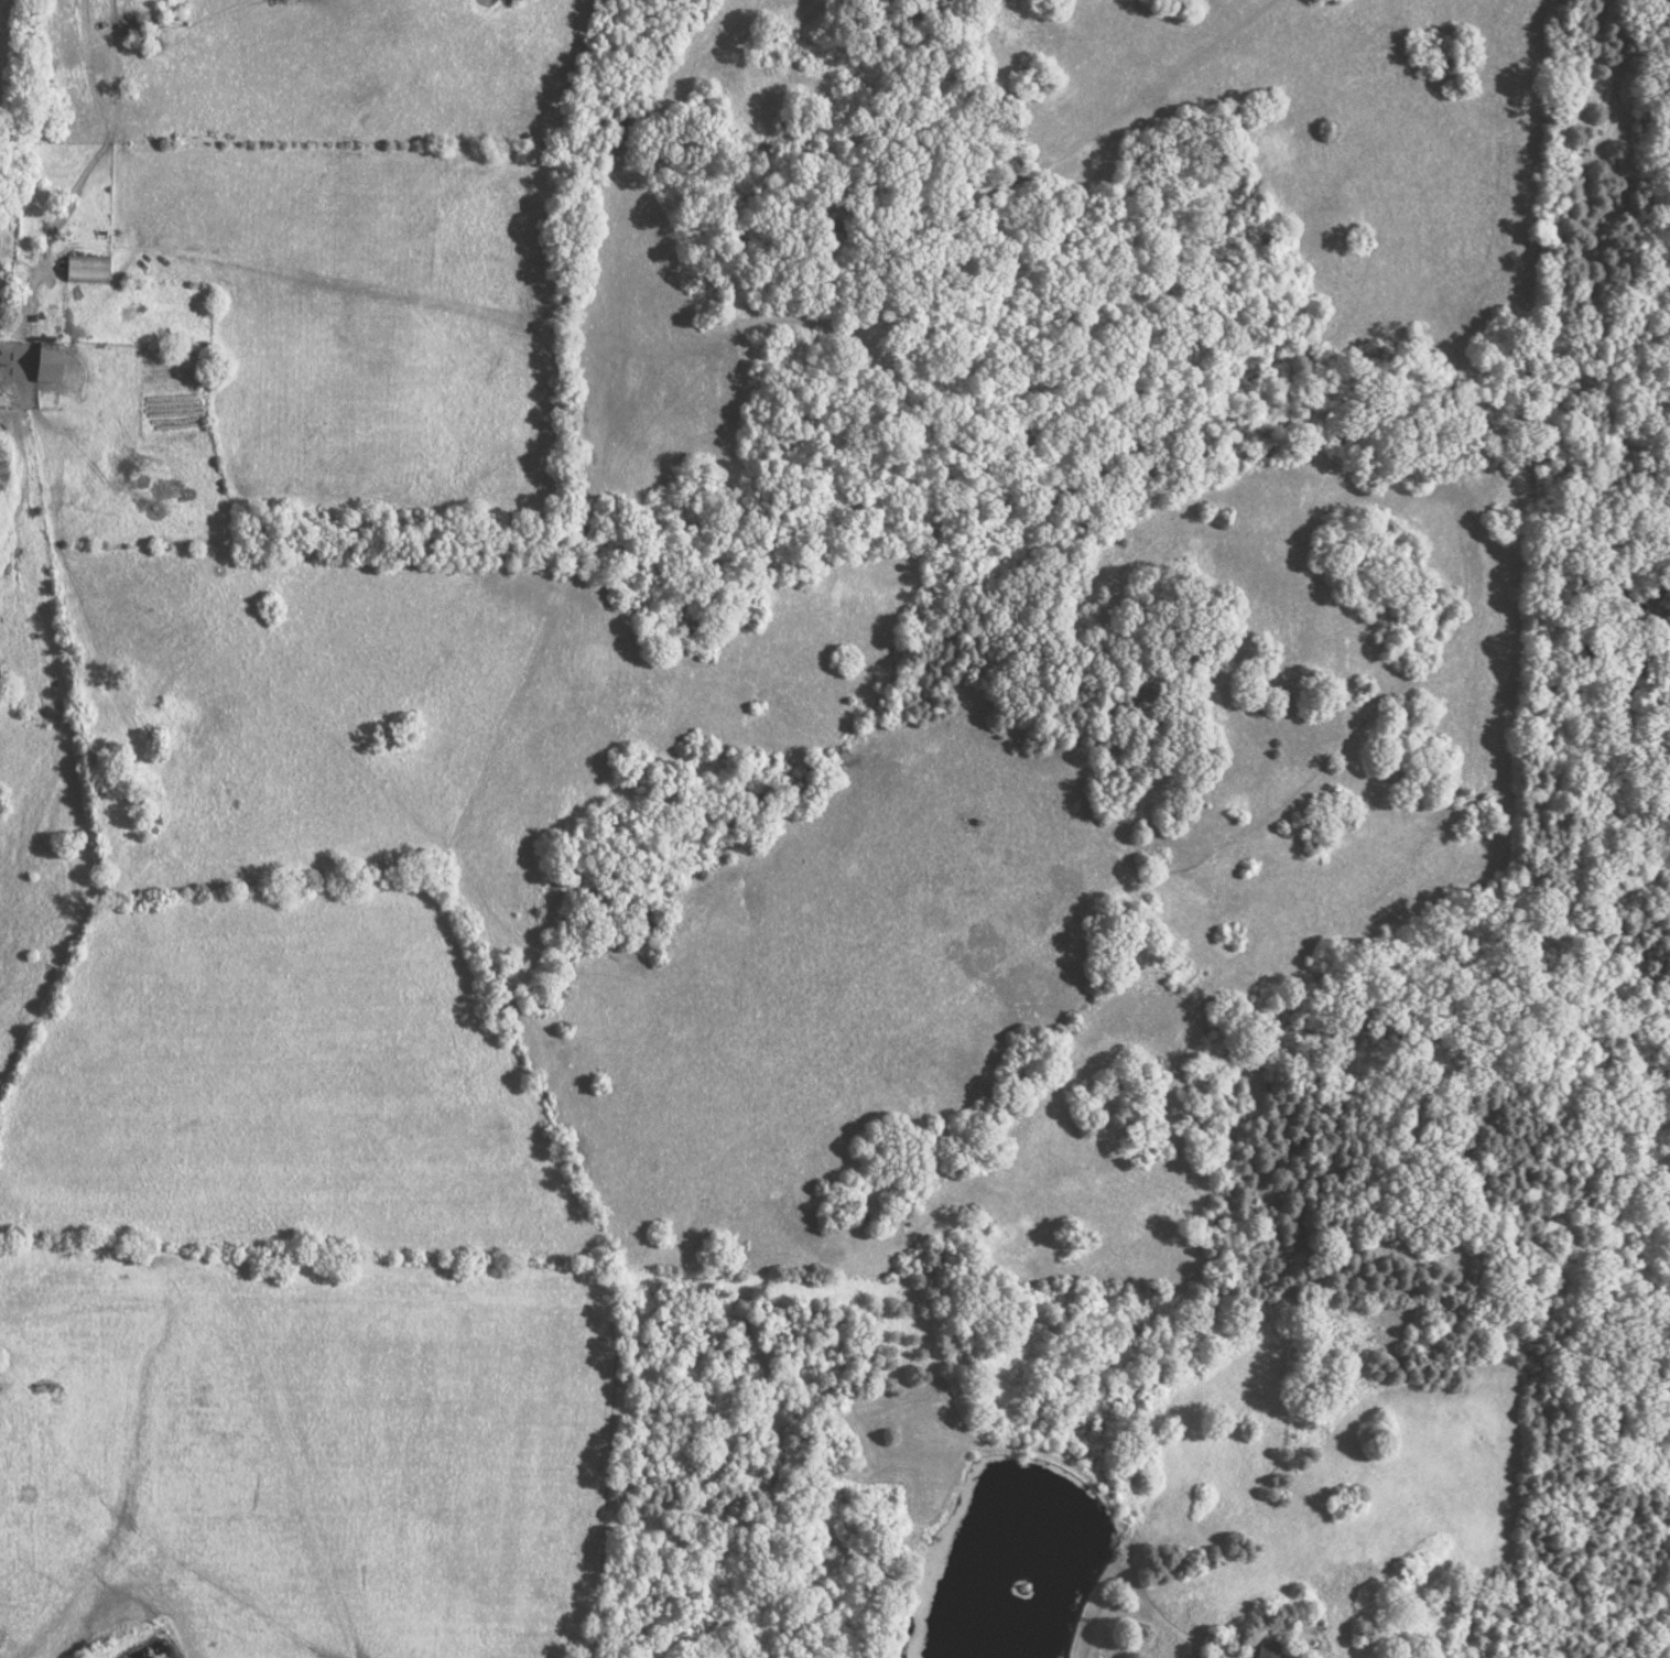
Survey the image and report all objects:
building: (87, 270)
building: (47, 364)
building: (1267, 1650)

